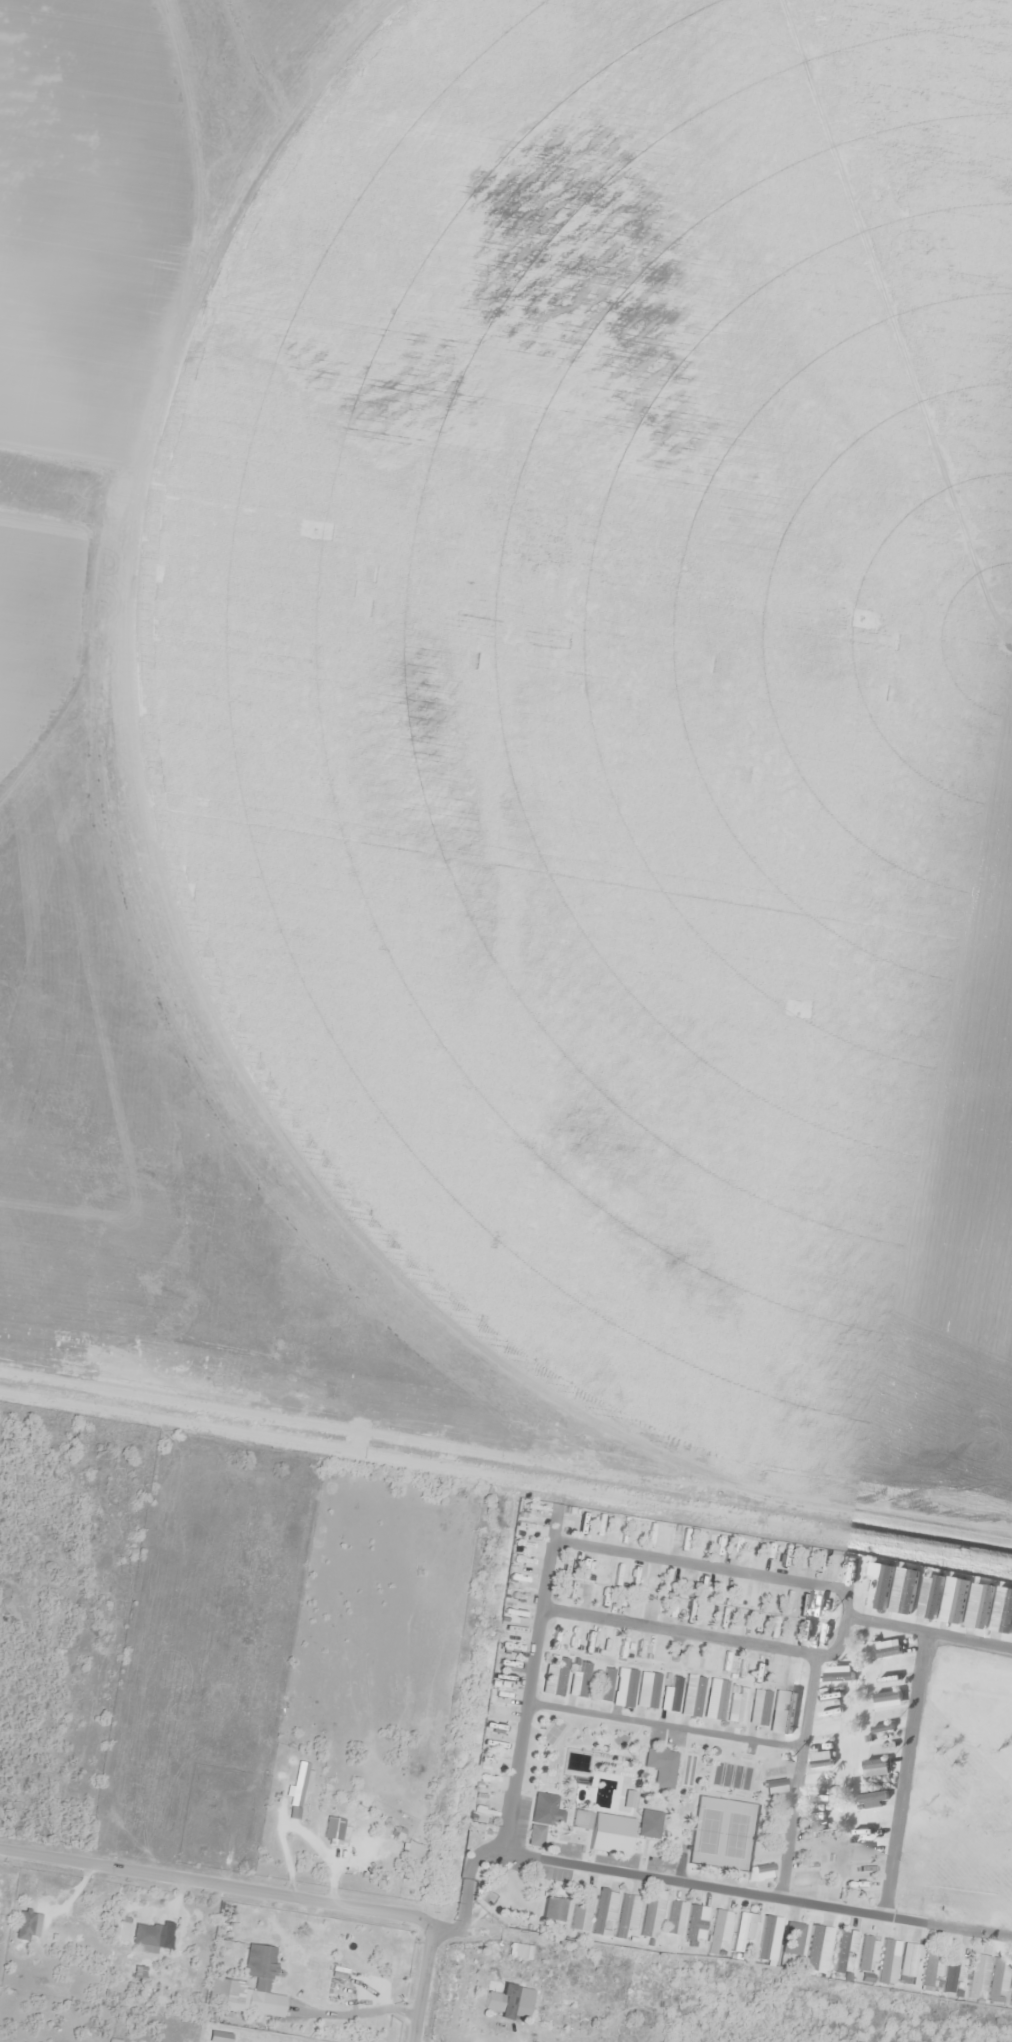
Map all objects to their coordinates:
road: (638, 1554)
building: (876, 1587)
building: (903, 1593)
building: (928, 1599)
building: (952, 1601)
building: (977, 1607)
building: (1002, 1610)
road: (682, 1632)
building: (591, 1643)
building: (553, 1675)
building: (839, 1678)
building: (578, 1682)
building: (626, 1688)
building: (646, 1690)
building: (603, 1695)
building: (669, 1697)
building: (692, 1700)
building: (713, 1700)
building: (785, 1705)
building: (758, 1707)
building: (736, 1708)
building: (879, 1717)
road: (663, 1724)
building: (829, 1728)
road: (801, 1750)
building: (819, 1760)
building: (778, 1766)
road: (904, 1773)
building: (296, 1784)
building: (774, 1788)
building: (541, 1817)
building: (600, 1824)
building: (647, 1824)
building: (815, 1831)
building: (861, 1853)
building: (859, 1870)
building: (759, 1872)
building: (804, 1879)
road: (216, 1885)
road: (466, 1892)
road: (755, 1894)
building: (580, 1908)
building: (550, 1909)
building: (604, 1913)
building: (625, 1914)
building: (651, 1915)
building: (673, 1918)
building: (695, 1922)
building: (21, 1925)
building: (718, 1929)
building: (743, 1930)
building: (136, 1934)
building: (791, 1939)
building: (839, 1952)
building: (864, 1952)
building: (909, 1960)
building: (888, 1961)
building: (258, 1966)
building: (932, 1966)
building: (138, 1969)
building: (952, 1972)
building: (977, 1977)
building: (997, 1980)
road: (423, 1981)
building: (215, 1989)
building: (1010, 1989)
building: (506, 2002)

